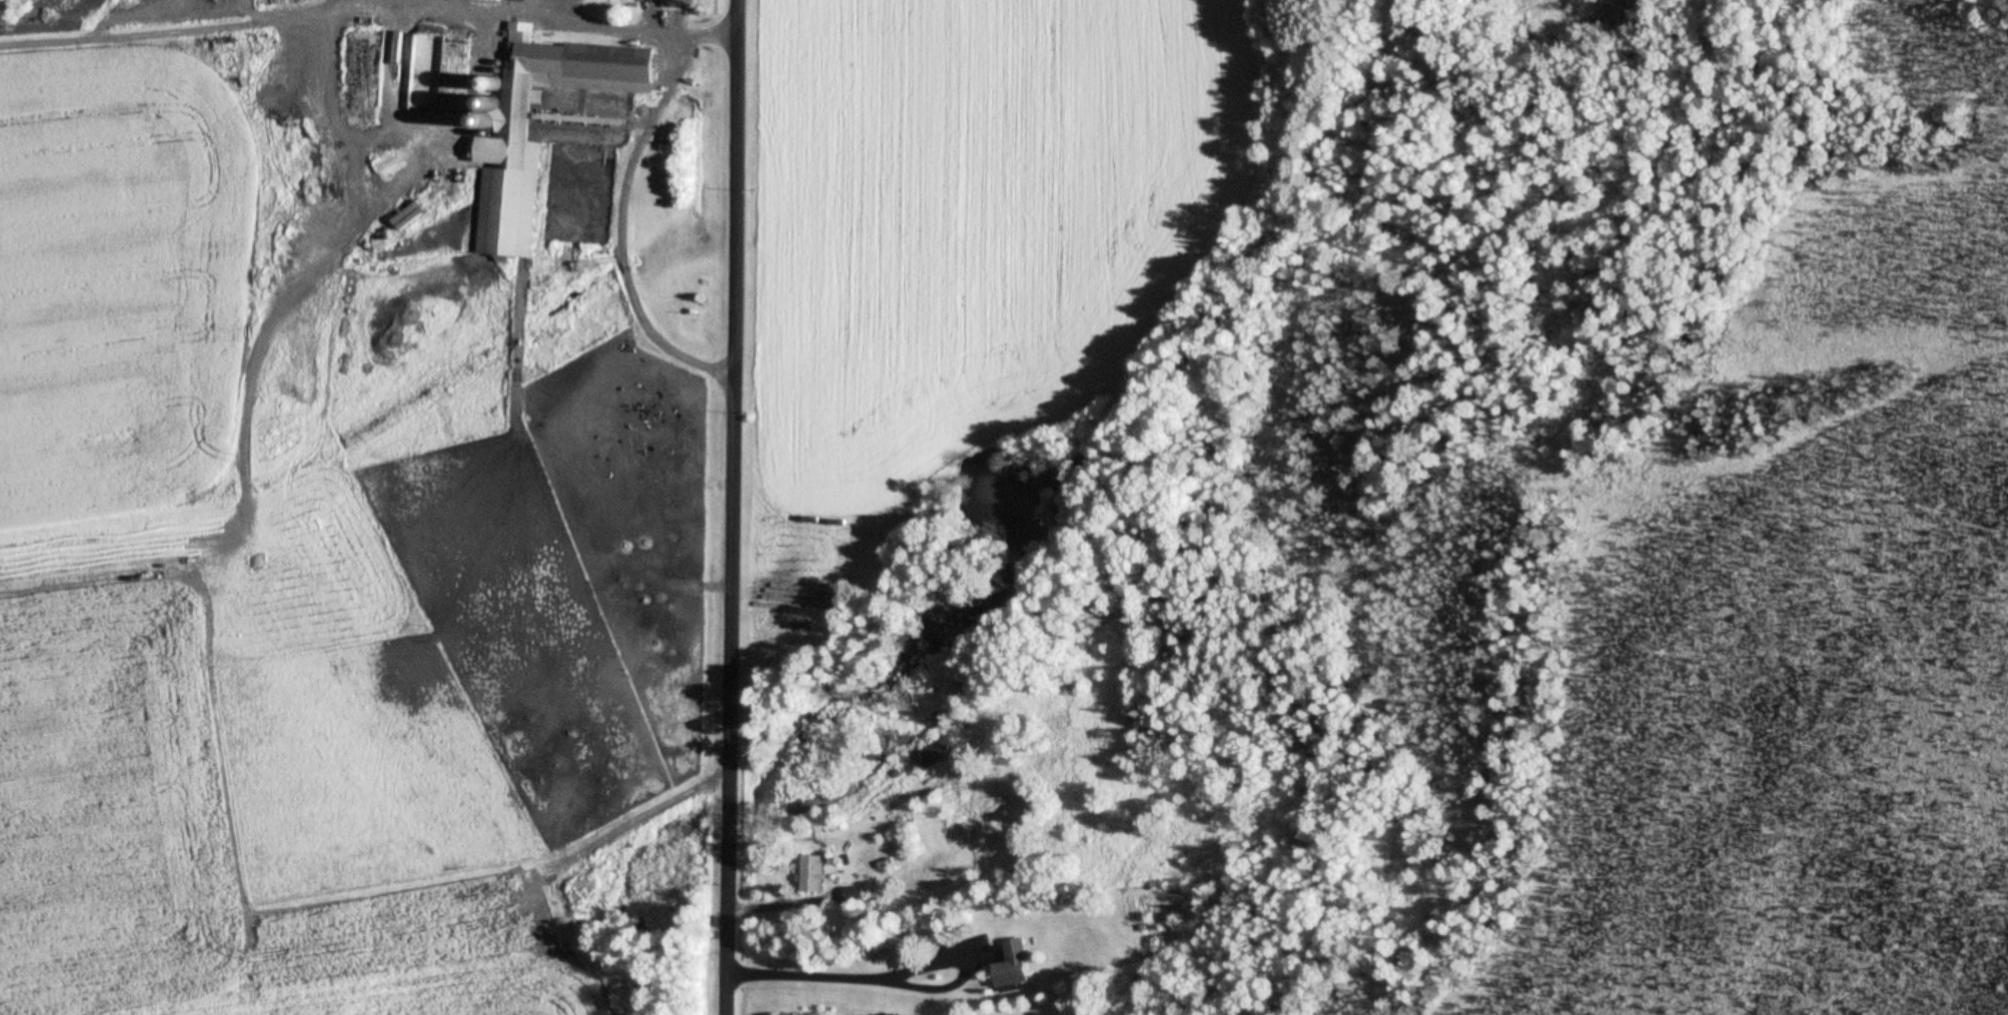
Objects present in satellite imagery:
building: (512, 152)
building: (411, 215)
building: (280, 280)
building: (245, 320)
road: (762, 507)
building: (938, 752)
building: (815, 874)
building: (1018, 964)

